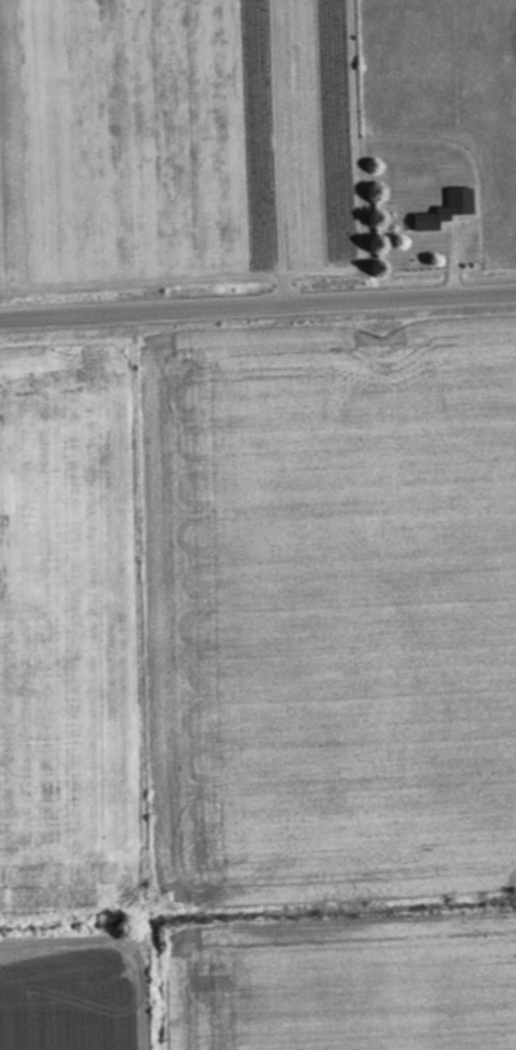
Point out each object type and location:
building: (460, 201)
building: (428, 222)
road: (257, 307)

